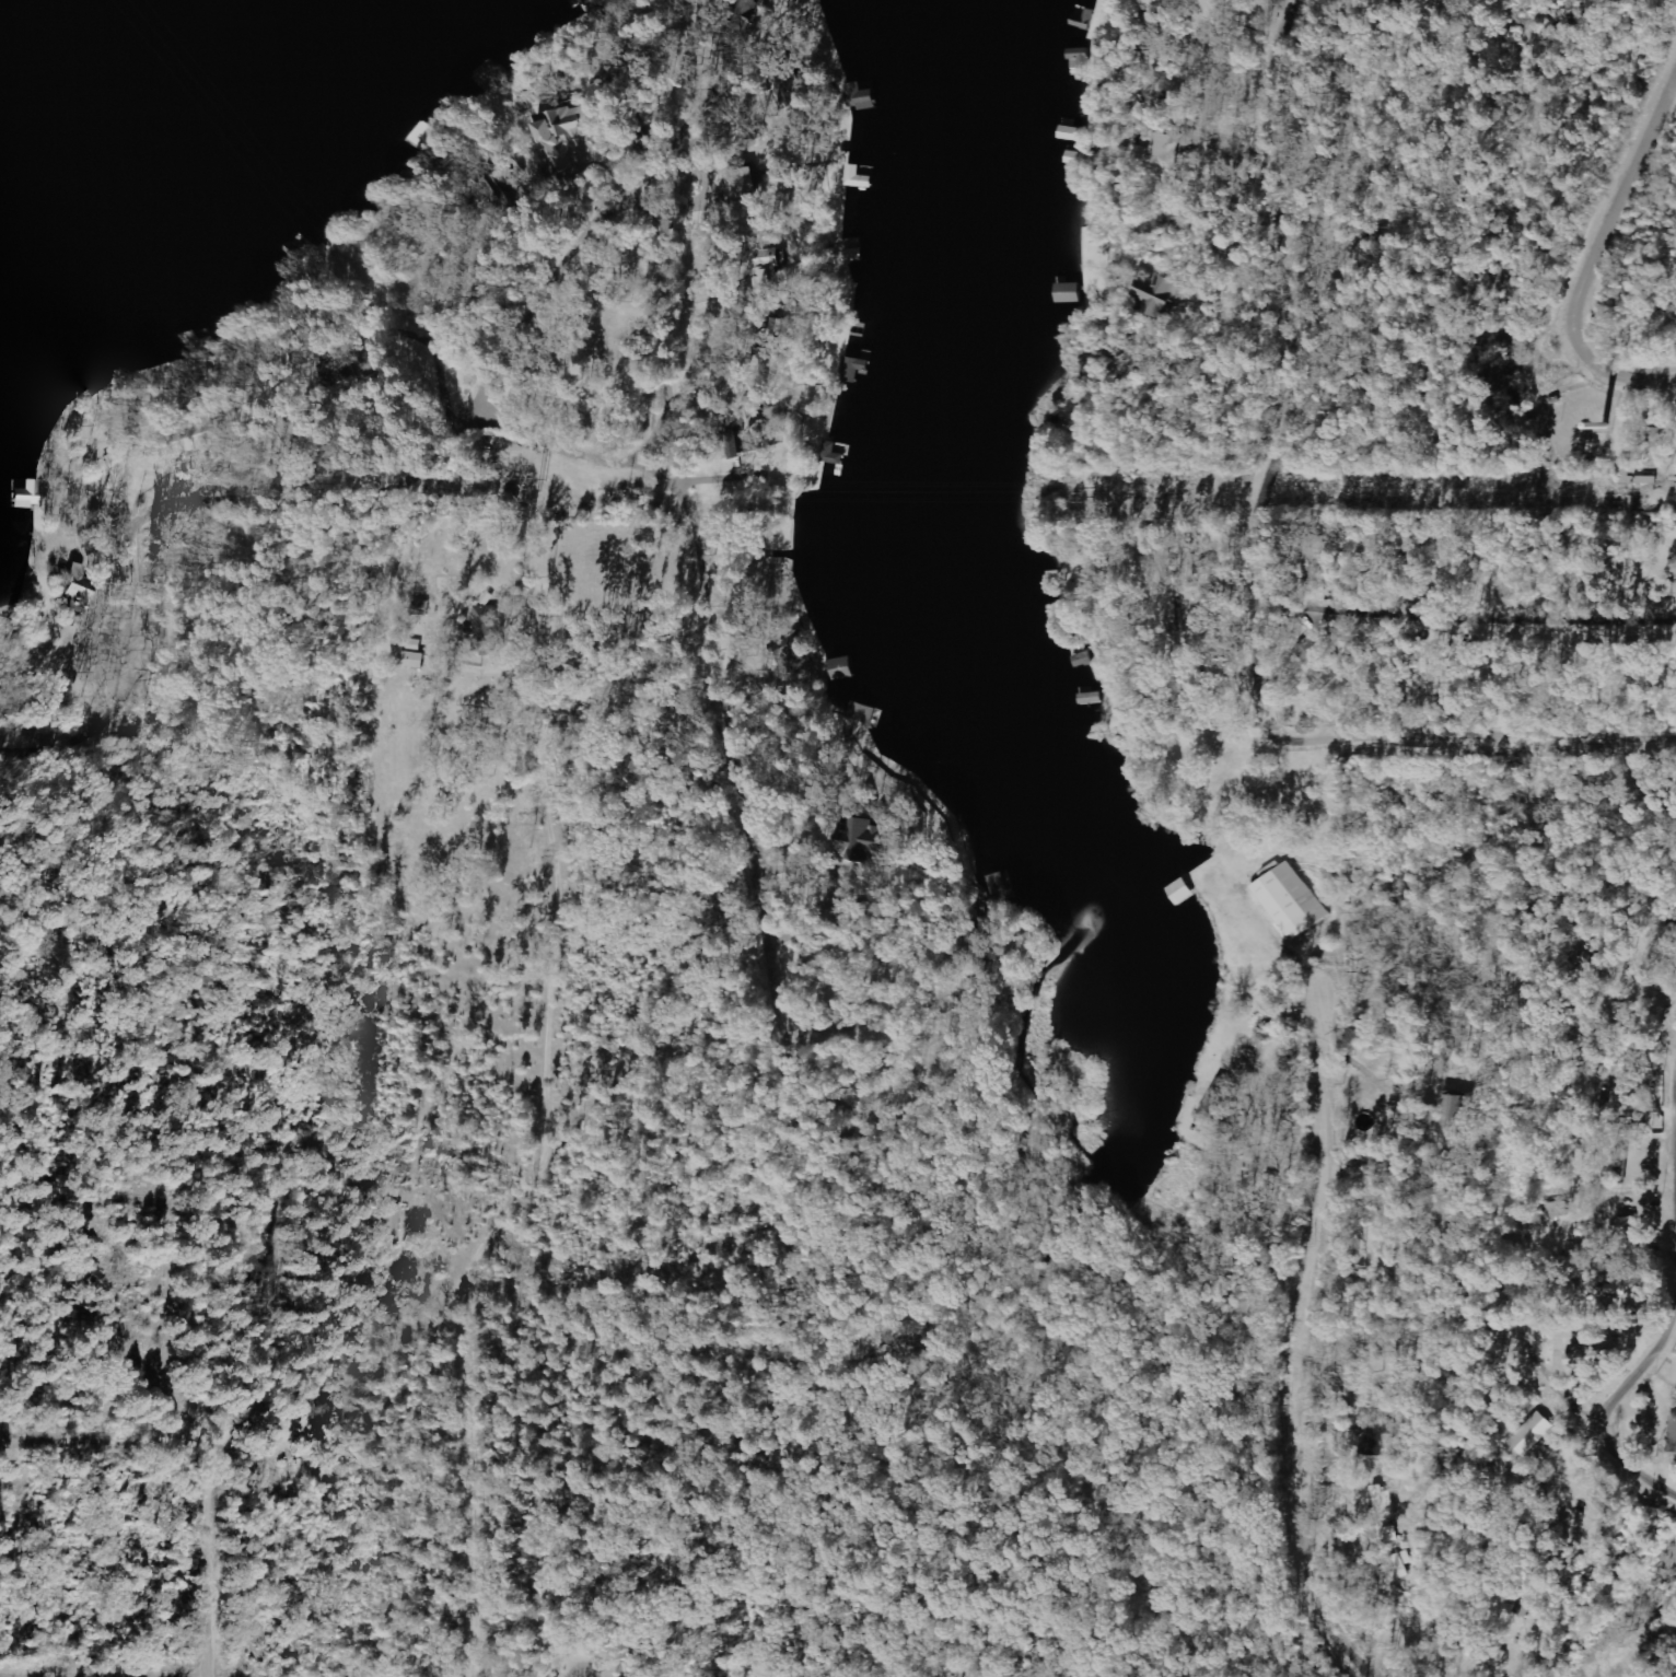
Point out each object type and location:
building: (596, 2)
building: (861, 98)
building: (561, 136)
building: (1152, 150)
road: (1255, 187)
road: (1616, 258)
building: (1150, 294)
road: (1281, 299)
road: (695, 319)
building: (188, 345)
road: (302, 427)
building: (837, 458)
building: (85, 589)
road: (1469, 621)
building: (487, 628)
building: (1314, 659)
building: (842, 668)
road: (528, 691)
road: (68, 692)
road: (726, 720)
road: (1413, 741)
building: (864, 839)
building: (1289, 901)
road: (647, 1045)
road: (1373, 1078)
building: (1217, 1099)
building: (1451, 1110)
road: (121, 1206)
building: (389, 1221)
building: (1626, 1226)
road: (1314, 1343)
road: (1642, 1384)
road: (1594, 1418)
road: (468, 1424)
building: (1533, 1434)
road: (261, 1441)
road: (103, 1444)
building: (1675, 1447)
building: (1384, 1504)
road: (207, 1561)
power tower: (1633, 1631)

